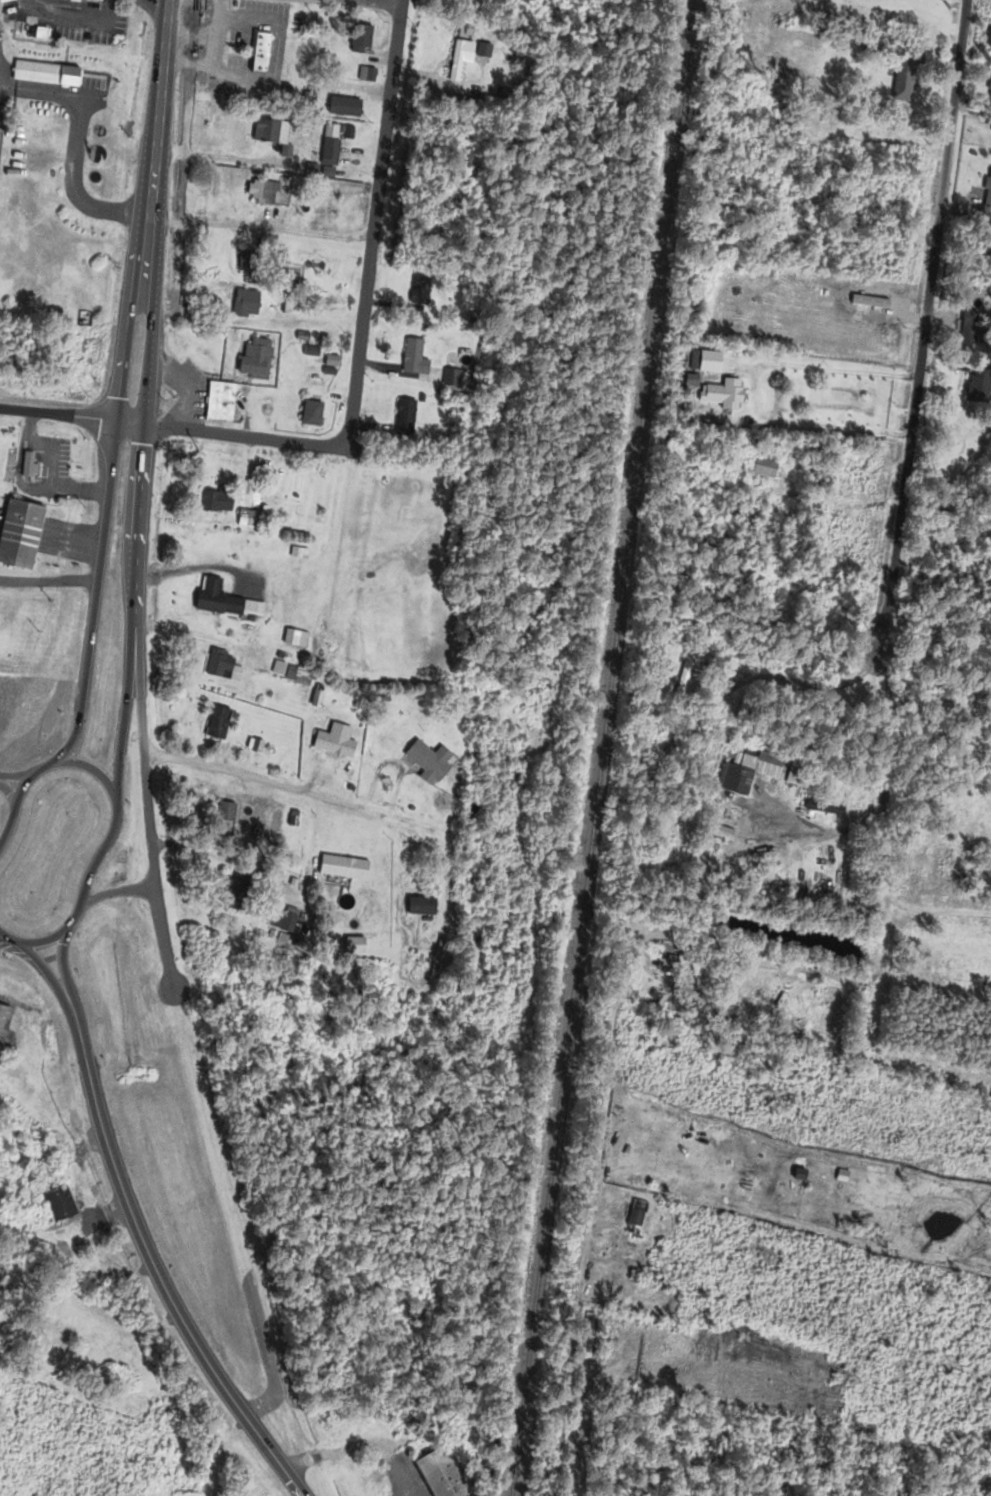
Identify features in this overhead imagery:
road: (396, 0)
building: (85, 1)
building: (357, 37)
building: (989, 37)
building: (257, 53)
building: (451, 62)
building: (469, 71)
building: (367, 76)
building: (902, 79)
building: (340, 107)
building: (266, 132)
road: (72, 143)
road: (154, 144)
building: (327, 145)
railway: (670, 154)
building: (987, 190)
building: (257, 194)
road: (371, 222)
road: (259, 226)
building: (276, 256)
building: (244, 263)
building: (416, 292)
building: (242, 305)
road: (922, 341)
building: (252, 359)
building: (411, 359)
building: (703, 361)
road: (753, 384)
building: (976, 385)
building: (721, 395)
building: (217, 403)
road: (71, 412)
building: (308, 414)
traffic signals: (117, 417)
building: (401, 417)
traffic signals: (143, 421)
road: (245, 433)
building: (26, 465)
building: (762, 467)
building: (213, 502)
building: (244, 520)
road: (103, 525)
building: (18, 533)
road: (135, 540)
road: (331, 541)
road: (191, 565)
building: (221, 602)
building: (292, 638)
building: (220, 667)
building: (296, 676)
building: (680, 678)
railway: (598, 682)
building: (215, 724)
building: (332, 746)
building: (255, 747)
railway: (604, 748)
building: (426, 761)
road: (44, 765)
road: (92, 767)
road: (245, 774)
road: (15, 775)
road: (145, 778)
building: (732, 780)
building: (794, 780)
road: (20, 787)
road: (9, 792)
building: (222, 820)
road: (9, 824)
road: (101, 848)
building: (342, 869)
building: (236, 892)
building: (414, 908)
road: (75, 916)
building: (278, 920)
road: (1, 933)
road: (1, 934)
road: (161, 937)
road: (11, 939)
road: (45, 939)
road: (61, 961)
road: (44, 969)
building: (3, 1022)
building: (53, 1201)
building: (633, 1217)
road: (152, 1260)
building: (1, 1276)
road: (579, 1293)
road: (357, 1444)
building: (436, 1474)

